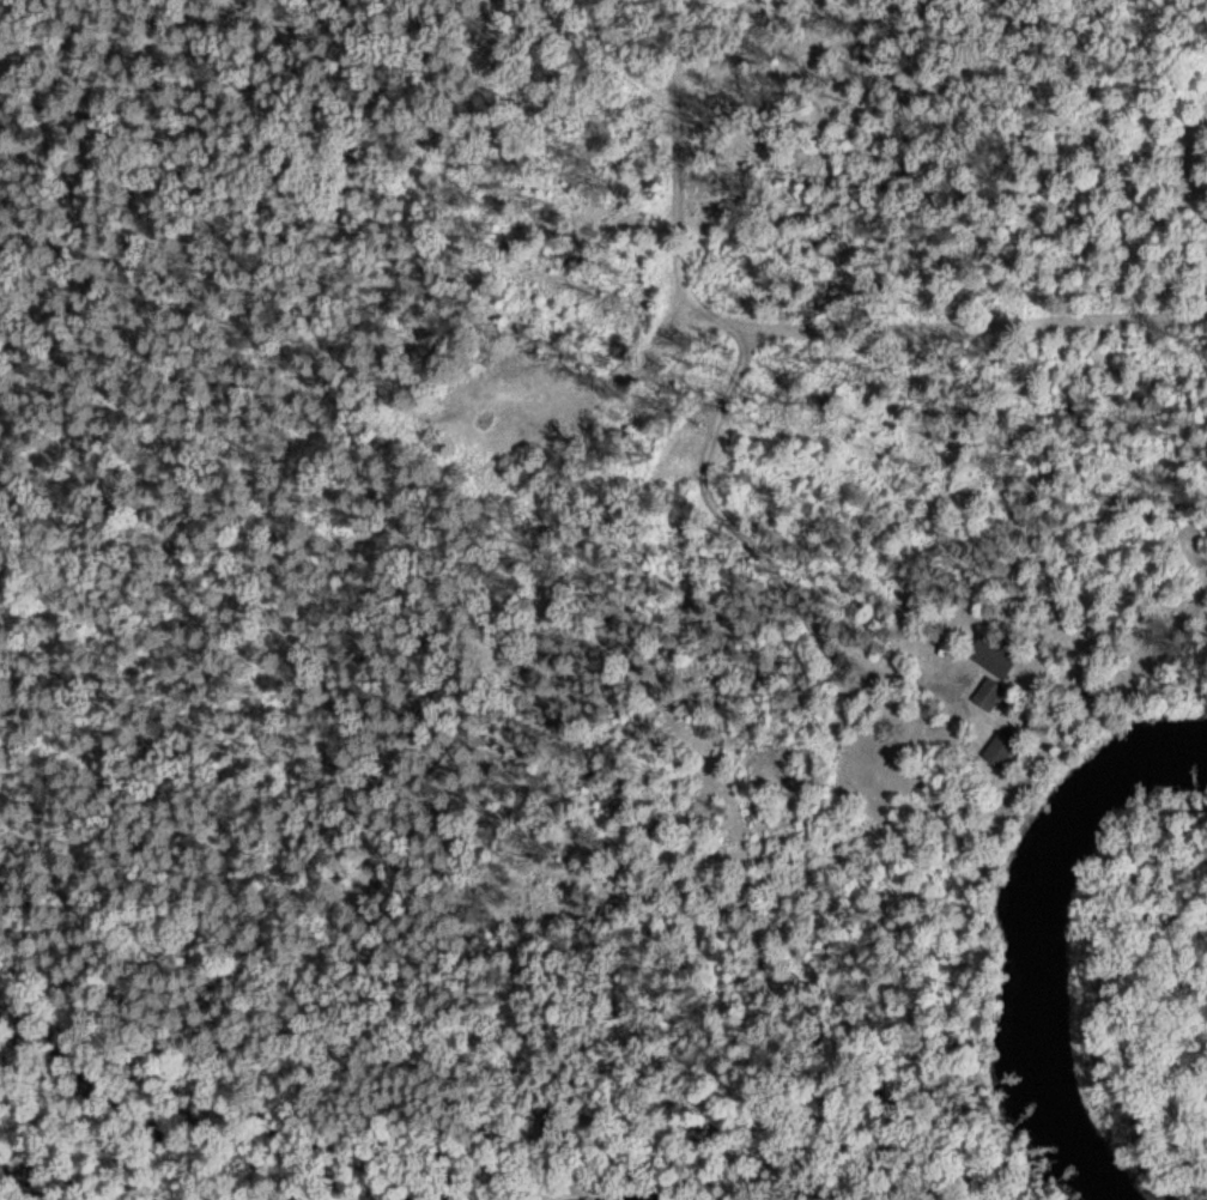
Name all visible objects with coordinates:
road: (768, 48)
road: (782, 323)
building: (985, 691)
building: (995, 747)
river: (1038, 938)

